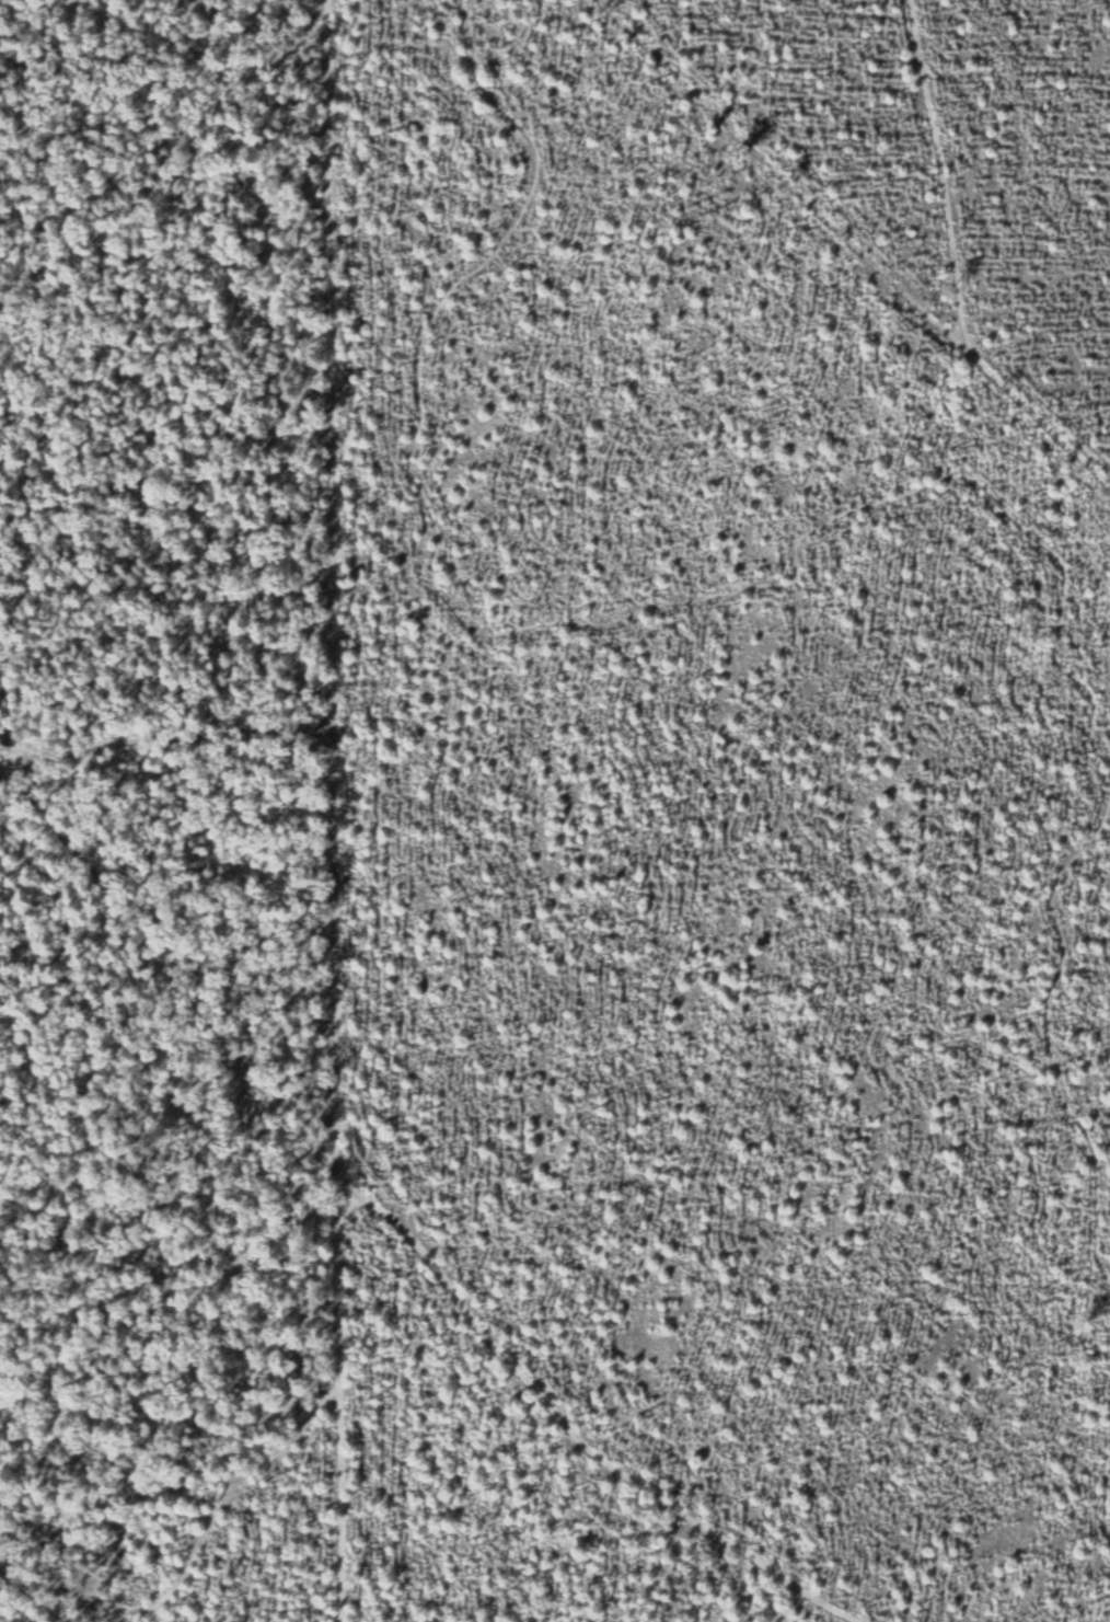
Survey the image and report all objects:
road: (772, 175)
road: (953, 272)
road: (800, 549)
road: (327, 579)
road: (164, 744)
road: (333, 1391)
road: (567, 1419)
road: (1105, 1485)
road: (209, 1518)
road: (35, 1592)

